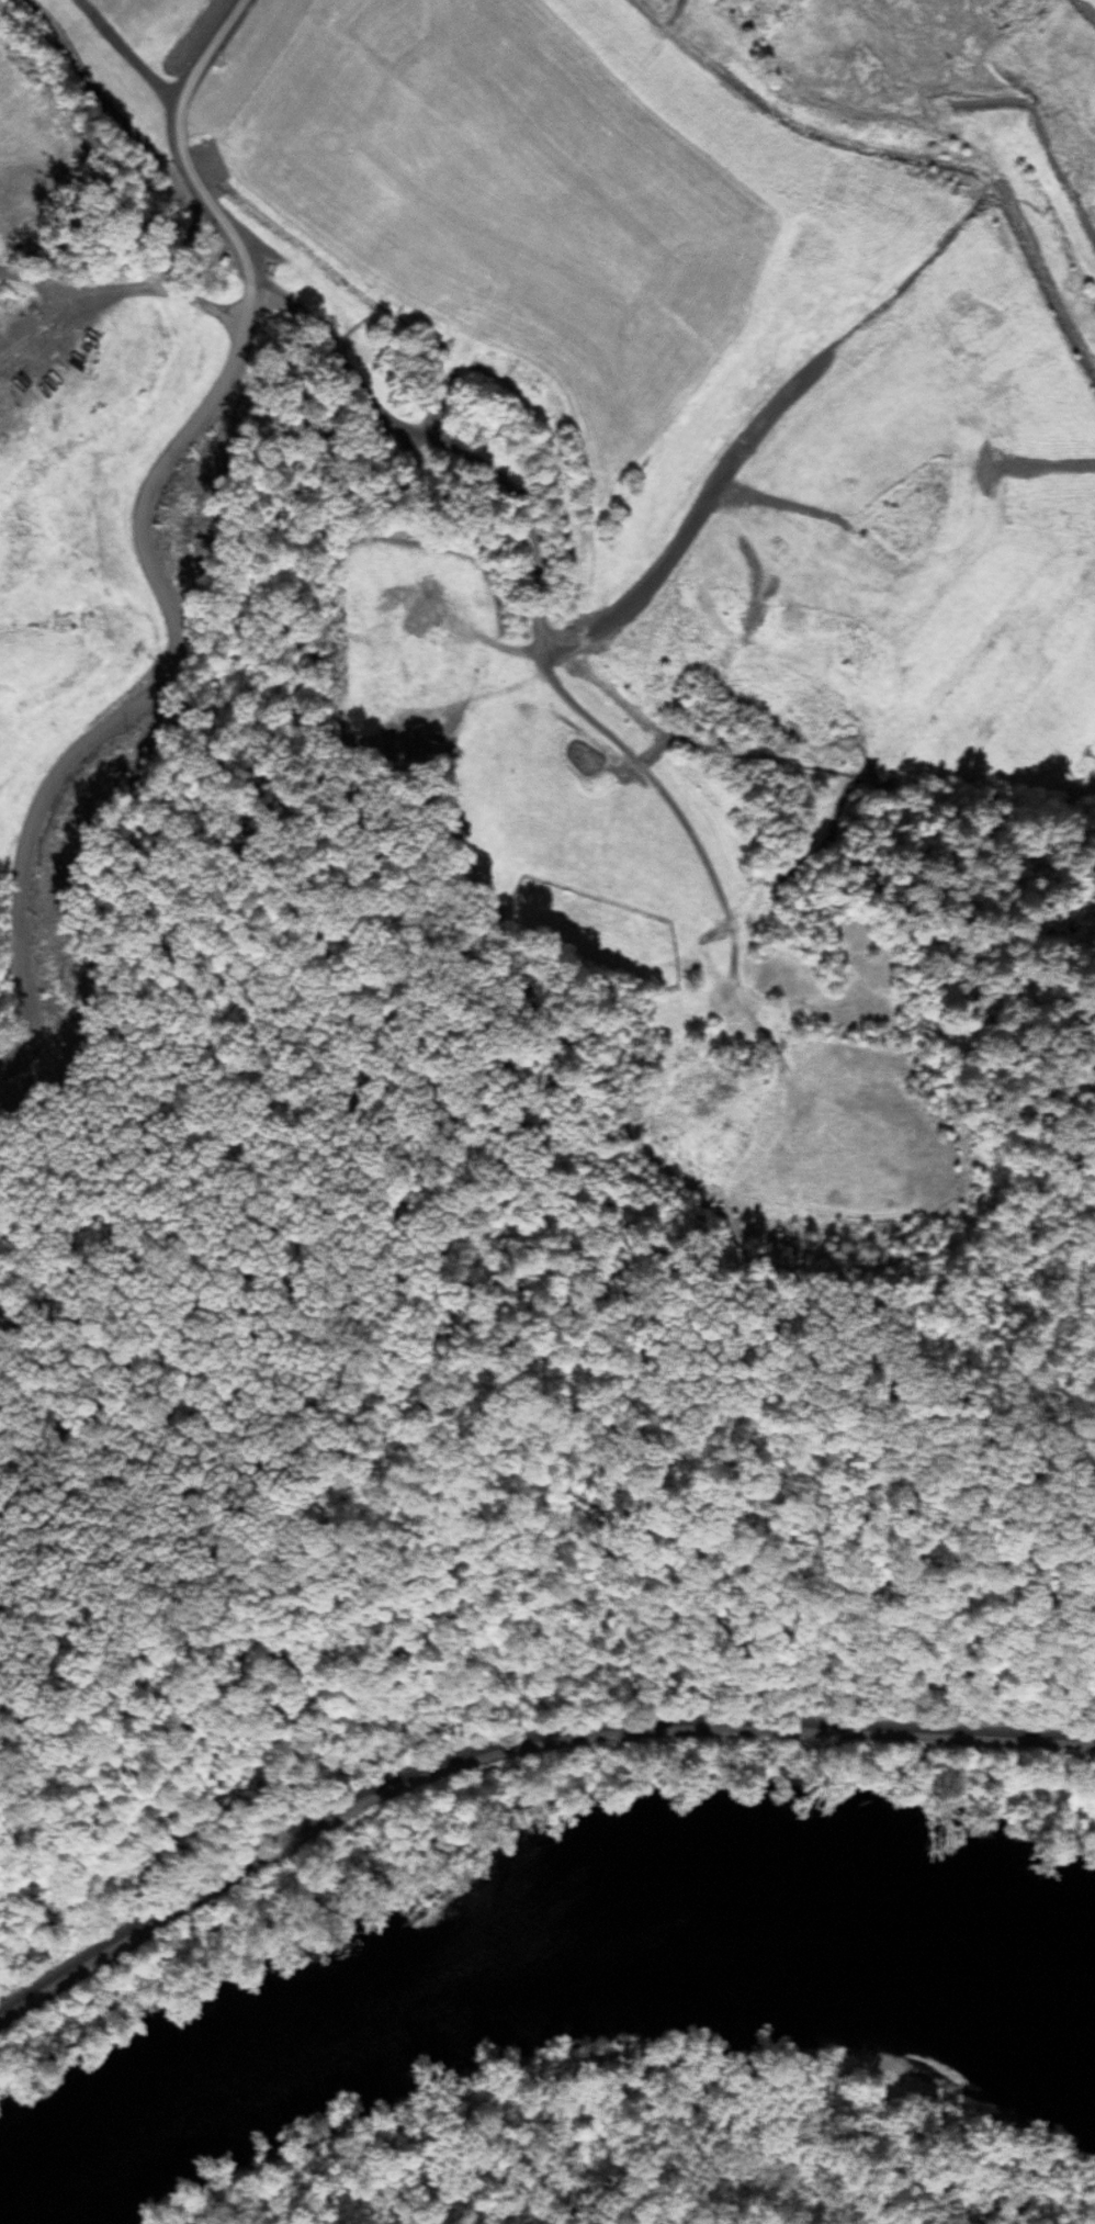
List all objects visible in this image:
road: (1024, 485)
road: (144, 539)
road: (535, 1379)
railway: (517, 1737)
river: (529, 1935)

